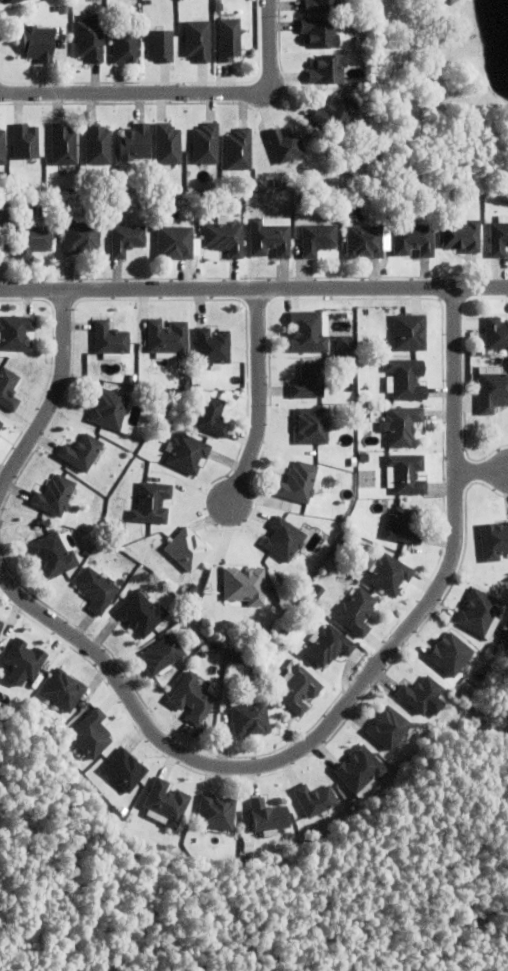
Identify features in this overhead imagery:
building: (18, 2)
building: (321, 7)
building: (319, 35)
building: (226, 38)
building: (90, 43)
building: (198, 43)
building: (156, 45)
building: (38, 46)
building: (125, 49)
building: (328, 72)
road: (175, 93)
building: (334, 117)
building: (203, 143)
building: (26, 144)
building: (164, 144)
building: (134, 146)
building: (98, 147)
building: (286, 147)
building: (64, 148)
building: (2, 151)
building: (239, 152)
building: (313, 199)
building: (333, 199)
building: (2, 233)
building: (81, 240)
building: (462, 240)
building: (225, 241)
building: (32, 242)
building: (270, 242)
building: (317, 242)
building: (412, 242)
building: (498, 242)
building: (126, 243)
building: (364, 245)
building: (175, 246)
road: (254, 292)
building: (308, 330)
building: (15, 331)
building: (409, 331)
building: (496, 333)
building: (168, 336)
building: (110, 340)
building: (343, 342)
building: (212, 346)
building: (132, 377)
building: (406, 377)
building: (308, 380)
building: (8, 388)
building: (492, 390)
road: (51, 397)
road: (257, 402)
building: (108, 407)
building: (210, 415)
building: (1, 422)
building: (311, 424)
building: (401, 424)
building: (81, 451)
building: (187, 452)
building: (364, 457)
building: (404, 473)
building: (298, 482)
building: (54, 495)
building: (151, 503)
building: (345, 516)
building: (402, 525)
building: (109, 526)
building: (352, 526)
building: (283, 538)
building: (493, 540)
building: (186, 548)
building: (52, 555)
building: (388, 573)
building: (244, 584)
building: (96, 589)
building: (315, 591)
building: (355, 610)
building: (478, 611)
building: (141, 612)
building: (1, 624)
building: (281, 632)
building: (327, 644)
building: (162, 653)
building: (448, 653)
building: (237, 655)
building: (24, 658)
building: (295, 687)
building: (63, 690)
building: (418, 693)
building: (192, 697)
road: (345, 704)
building: (248, 715)
building: (386, 727)
building: (91, 733)
building: (358, 768)
building: (124, 769)
building: (313, 798)
building: (166, 802)
building: (125, 812)
building: (216, 812)
building: (267, 815)

